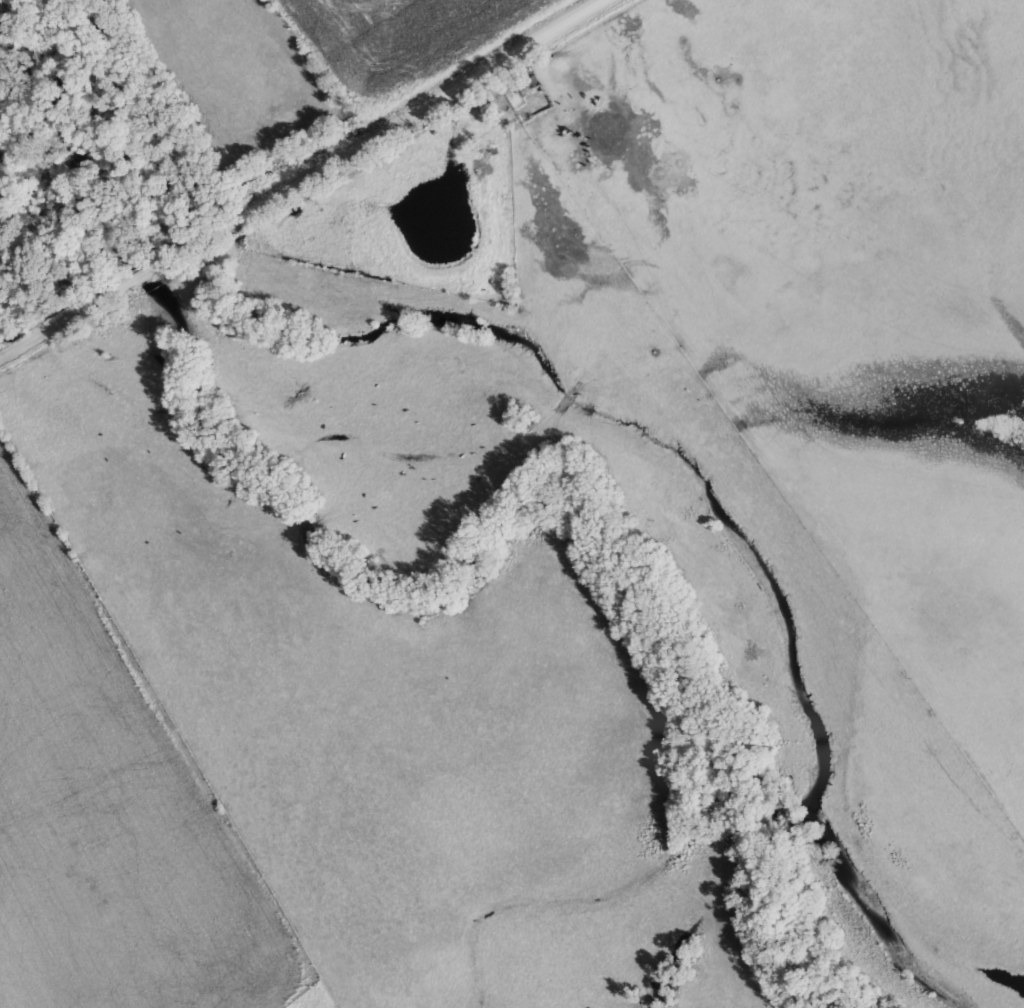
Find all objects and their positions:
road: (300, 178)
dam: (455, 263)

